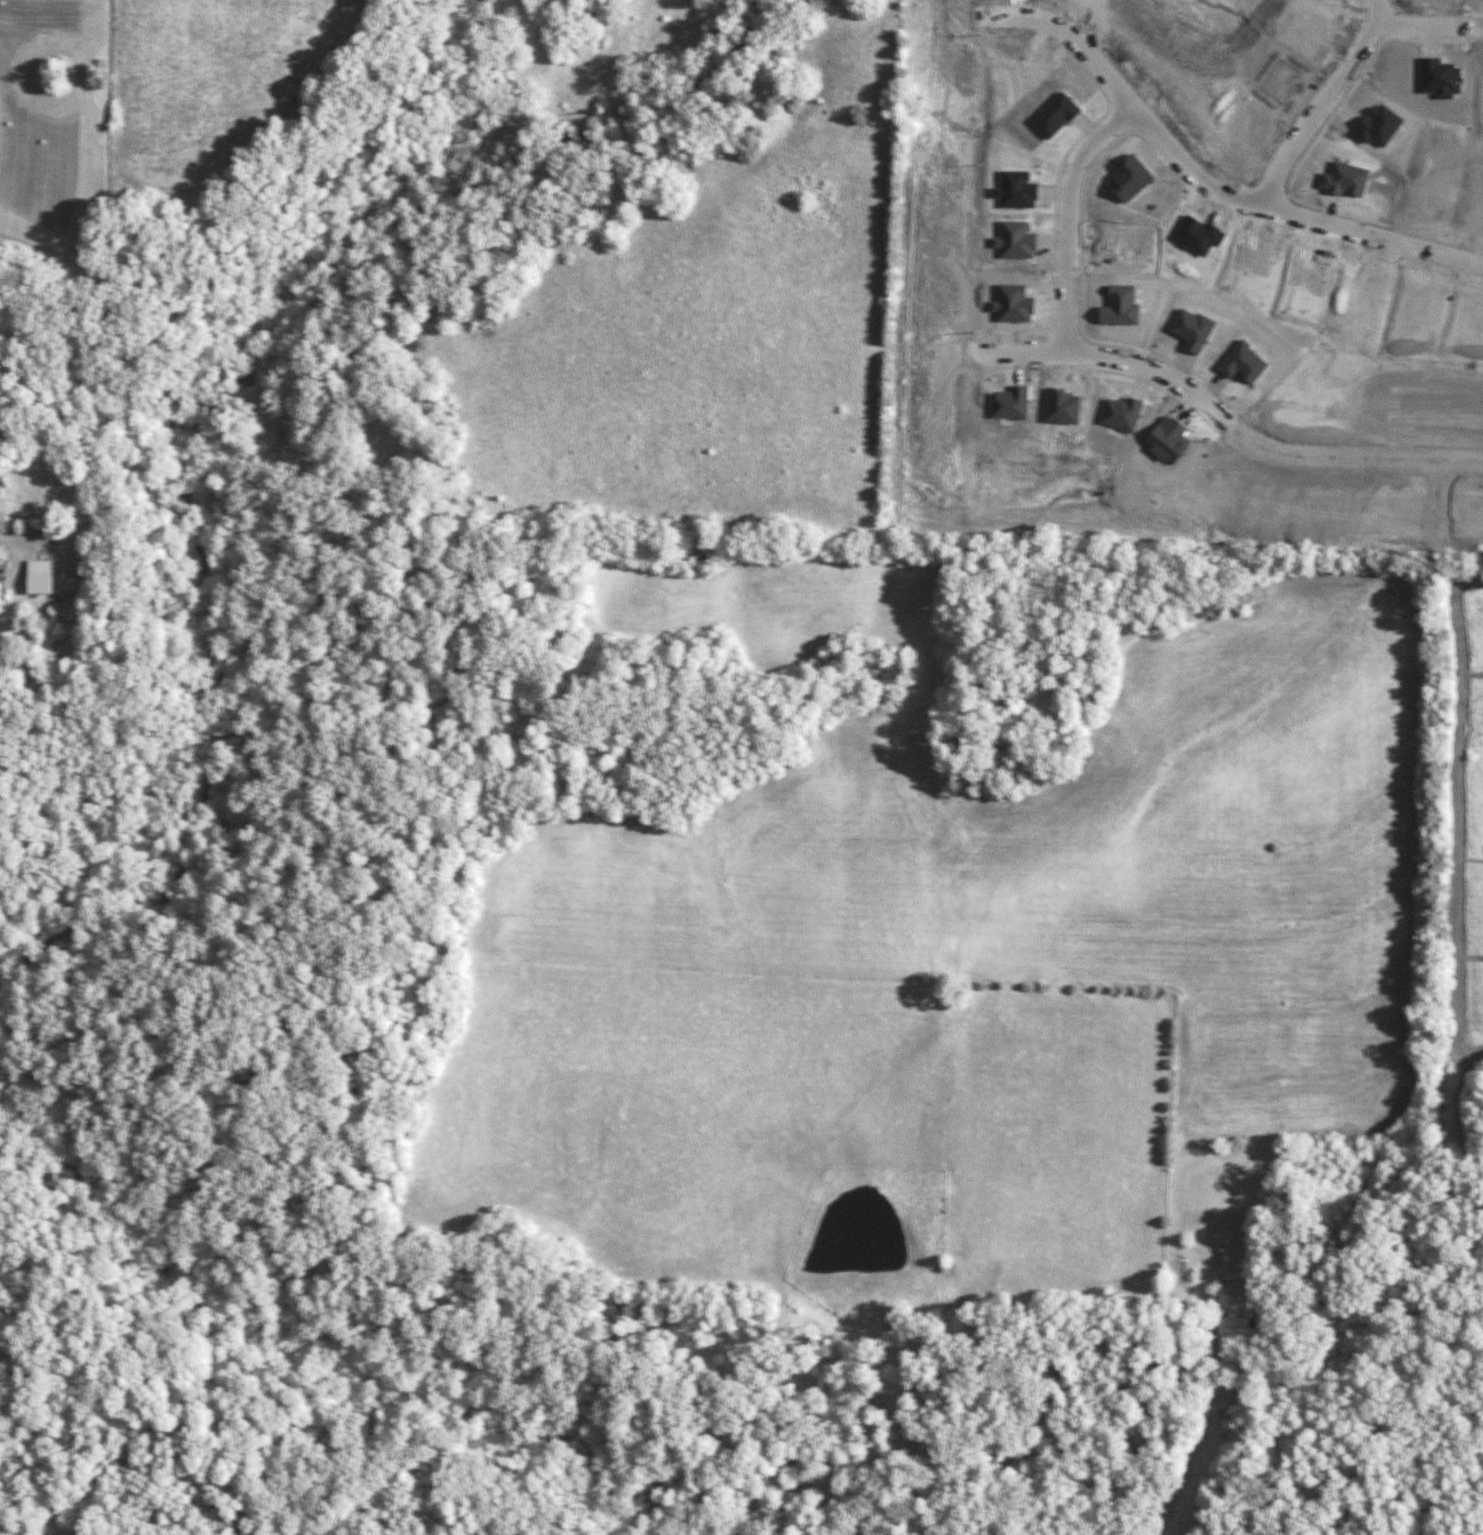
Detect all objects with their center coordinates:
building: (1078, 1)
road: (1359, 6)
road: (1428, 32)
building: (1439, 82)
building: (1276, 86)
building: (1481, 89)
road: (1322, 108)
building: (1054, 121)
road: (1120, 123)
road: (1321, 131)
building: (1377, 132)
building: (1232, 145)
road: (1095, 164)
building: (1127, 185)
building: (1343, 185)
building: (1014, 197)
road: (1202, 197)
road: (1049, 224)
road: (1069, 225)
building: (1193, 241)
building: (1013, 247)
building: (1116, 257)
building: (1249, 265)
building: (1305, 281)
building: (1414, 307)
building: (1011, 311)
building: (1118, 313)
building: (1189, 336)
road: (1063, 342)
building: (1240, 369)
road: (1106, 379)
building: (1011, 409)
building: (1063, 412)
building: (1122, 419)
road: (1225, 430)
building: (1168, 447)
road: (1434, 505)
building: (46, 576)
building: (1239, 1328)
road: (819, 1436)
road: (1199, 1446)
building: (795, 1463)

